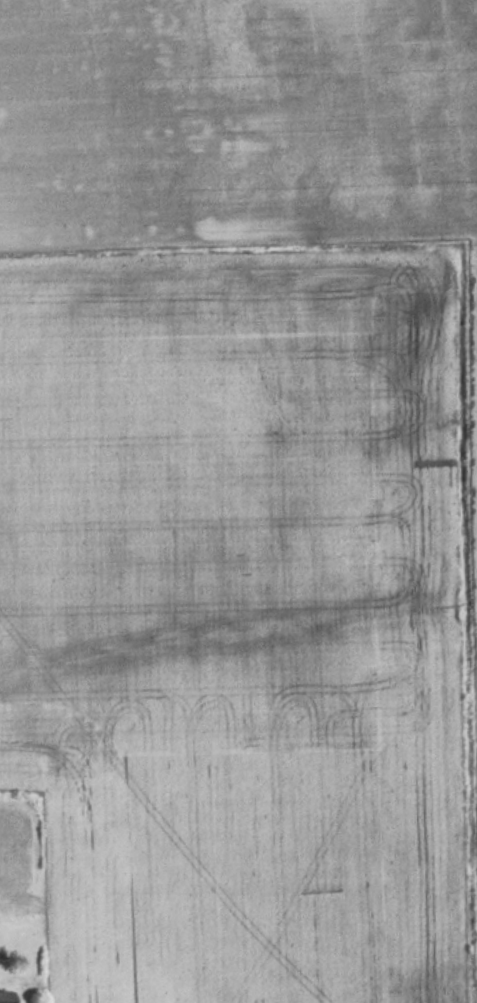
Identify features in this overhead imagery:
building: (4, 997)

